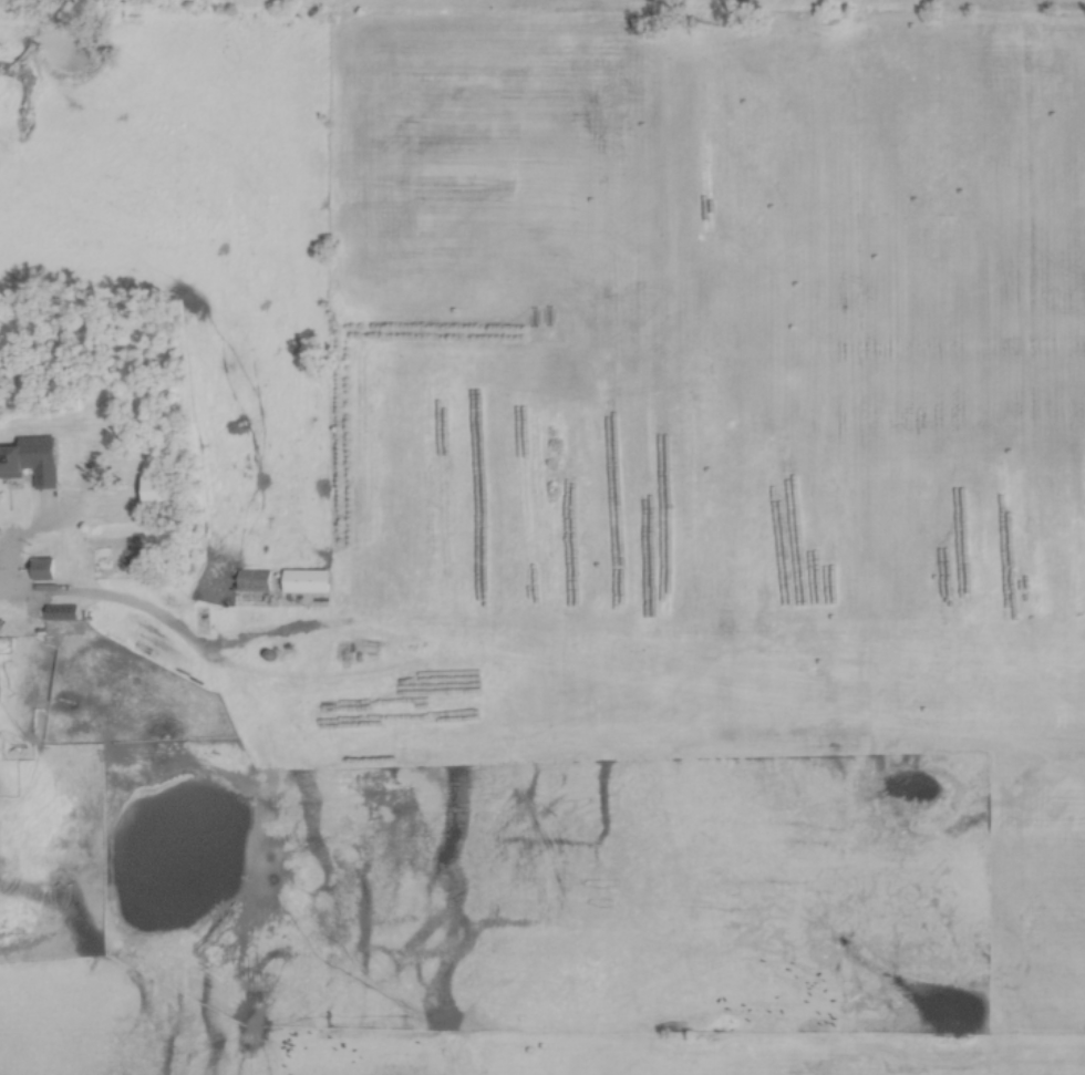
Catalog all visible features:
building: (9, 464)
building: (153, 490)
building: (40, 569)
building: (302, 583)
building: (252, 588)
building: (59, 613)
road: (148, 614)

